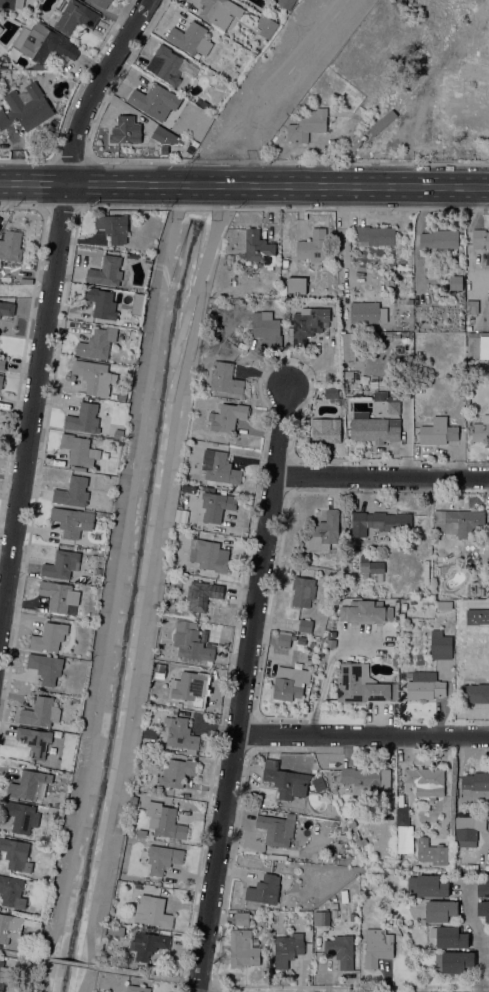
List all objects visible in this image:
building: (110, 1)
building: (102, 3)
road: (185, 3)
building: (286, 3)
building: (11, 4)
road: (167, 10)
building: (219, 12)
road: (108, 14)
building: (72, 16)
building: (266, 26)
building: (1, 29)
road: (113, 31)
building: (190, 39)
building: (35, 42)
road: (132, 56)
road: (91, 64)
road: (371, 64)
building: (170, 66)
building: (36, 68)
road: (129, 73)
building: (213, 79)
road: (266, 84)
road: (472, 94)
building: (481, 94)
road: (71, 99)
building: (0, 100)
building: (154, 101)
building: (201, 103)
road: (124, 107)
road: (405, 107)
building: (25, 109)
building: (314, 125)
building: (462, 127)
building: (126, 131)
building: (165, 136)
road: (73, 160)
road: (201, 160)
road: (7, 183)
road: (40, 183)
road: (105, 183)
road: (316, 186)
road: (60, 208)
building: (113, 227)
building: (374, 236)
building: (439, 239)
building: (480, 239)
building: (11, 246)
building: (312, 246)
building: (258, 248)
building: (485, 261)
building: (285, 263)
road: (70, 266)
building: (106, 272)
building: (390, 283)
building: (455, 283)
building: (296, 285)
building: (283, 291)
building: (392, 291)
road: (49, 300)
building: (407, 301)
building: (102, 303)
building: (137, 304)
building: (472, 307)
building: (7, 308)
building: (367, 313)
building: (307, 325)
building: (266, 328)
road: (25, 338)
building: (97, 343)
building: (478, 346)
building: (348, 347)
building: (2, 363)
building: (348, 376)
building: (94, 377)
building: (225, 378)
building: (1, 380)
building: (332, 392)
building: (121, 397)
building: (394, 407)
building: (227, 417)
building: (84, 419)
building: (325, 430)
building: (375, 430)
building: (481, 430)
building: (437, 432)
building: (118, 435)
building: (79, 450)
building: (219, 468)
road: (383, 476)
building: (183, 477)
building: (73, 492)
building: (216, 506)
building: (99, 514)
building: (72, 521)
building: (379, 522)
building: (458, 522)
building: (324, 532)
building: (209, 556)
building: (62, 565)
building: (370, 566)
building: (376, 578)
building: (303, 591)
building: (480, 591)
building: (59, 595)
building: (202, 595)
building: (444, 605)
building: (403, 606)
building: (366, 612)
building: (477, 616)
building: (401, 621)
building: (305, 626)
building: (214, 629)
building: (331, 635)
building: (49, 637)
building: (283, 639)
building: (301, 640)
building: (190, 641)
building: (440, 642)
building: (331, 643)
building: (394, 661)
building: (45, 667)
building: (159, 672)
road: (325, 673)
building: (290, 683)
building: (424, 685)
building: (359, 686)
building: (188, 687)
road: (244, 689)
building: (475, 693)
building: (40, 712)
building: (181, 734)
road: (363, 735)
building: (34, 740)
building: (145, 743)
building: (177, 772)
building: (289, 772)
building: (66, 777)
building: (357, 777)
building: (425, 781)
building: (318, 783)
building: (29, 785)
building: (475, 787)
building: (21, 816)
building: (402, 816)
building: (164, 821)
building: (351, 824)
building: (466, 829)
building: (276, 830)
building: (141, 833)
building: (405, 839)
building: (362, 843)
building: (431, 852)
building: (16, 854)
building: (163, 858)
building: (345, 861)
building: (137, 886)
building: (431, 886)
building: (483, 889)
building: (264, 890)
building: (11, 892)
building: (483, 910)
building: (440, 911)
building: (152, 912)
building: (242, 918)
building: (321, 918)
building: (310, 924)
building: (13, 927)
building: (116, 930)
road: (479, 935)
building: (451, 938)
building: (147, 945)
building: (377, 946)
building: (243, 949)
building: (287, 949)
building: (341, 950)
building: (488, 951)
road: (19, 955)
building: (453, 962)
road: (67, 963)
building: (4, 975)
road: (146, 975)
building: (137, 988)

